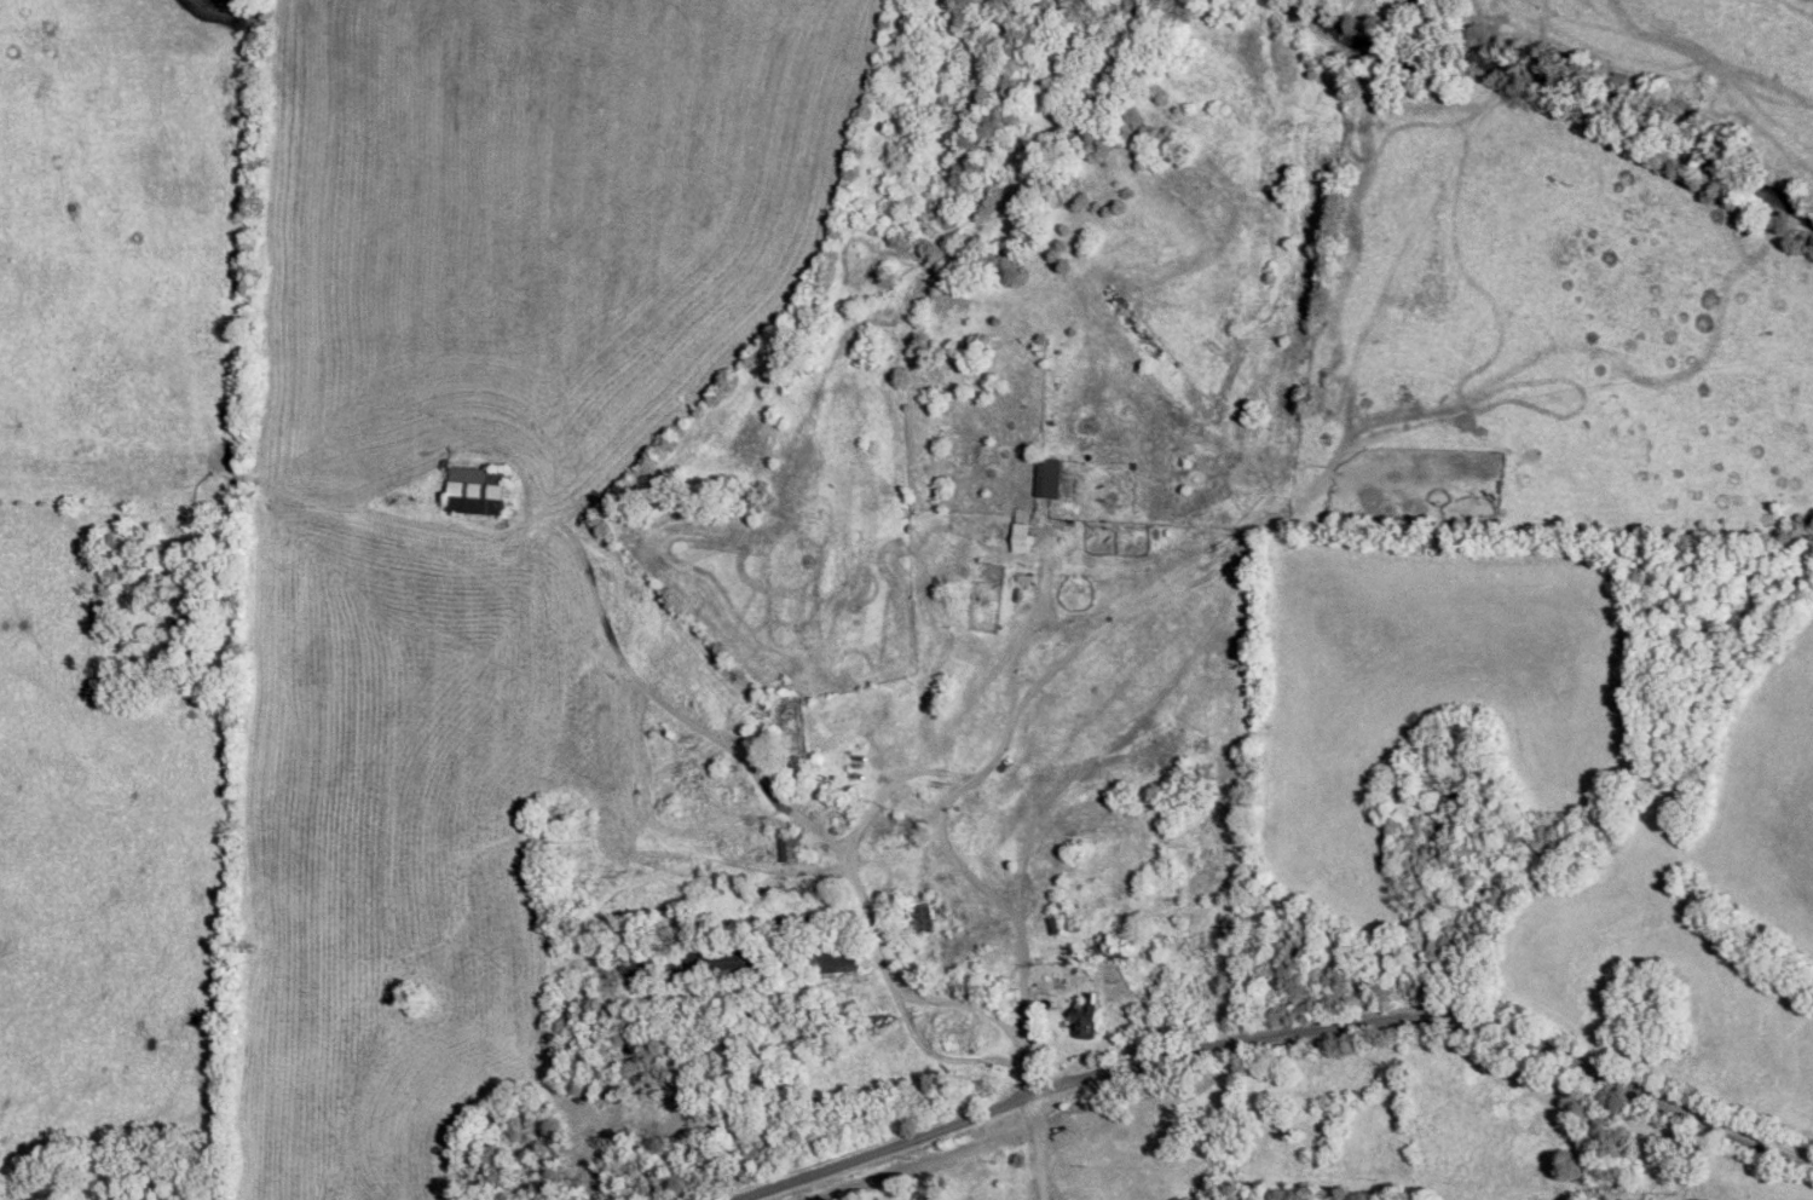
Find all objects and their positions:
building: (1049, 478)
building: (477, 497)
building: (1021, 538)
road: (940, 817)
building: (790, 848)
road: (1281, 1035)
road: (1039, 1148)

